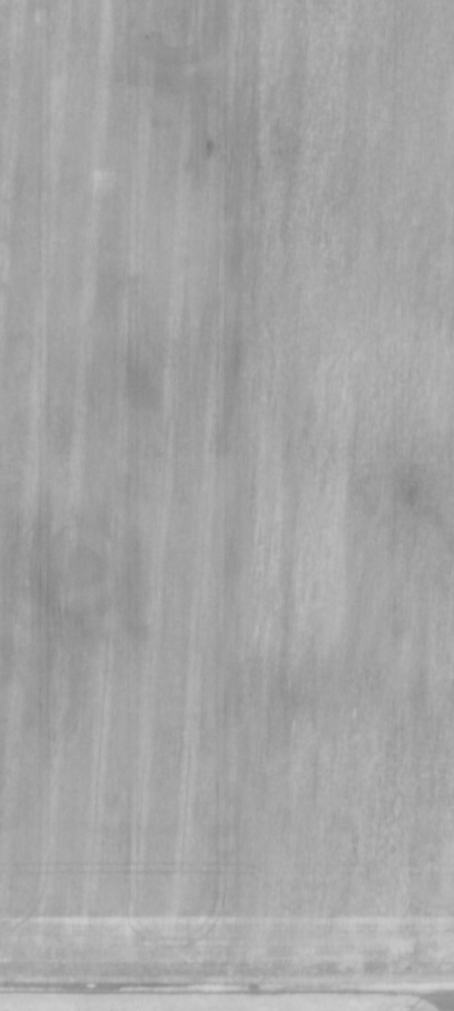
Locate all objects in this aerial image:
road: (227, 987)

